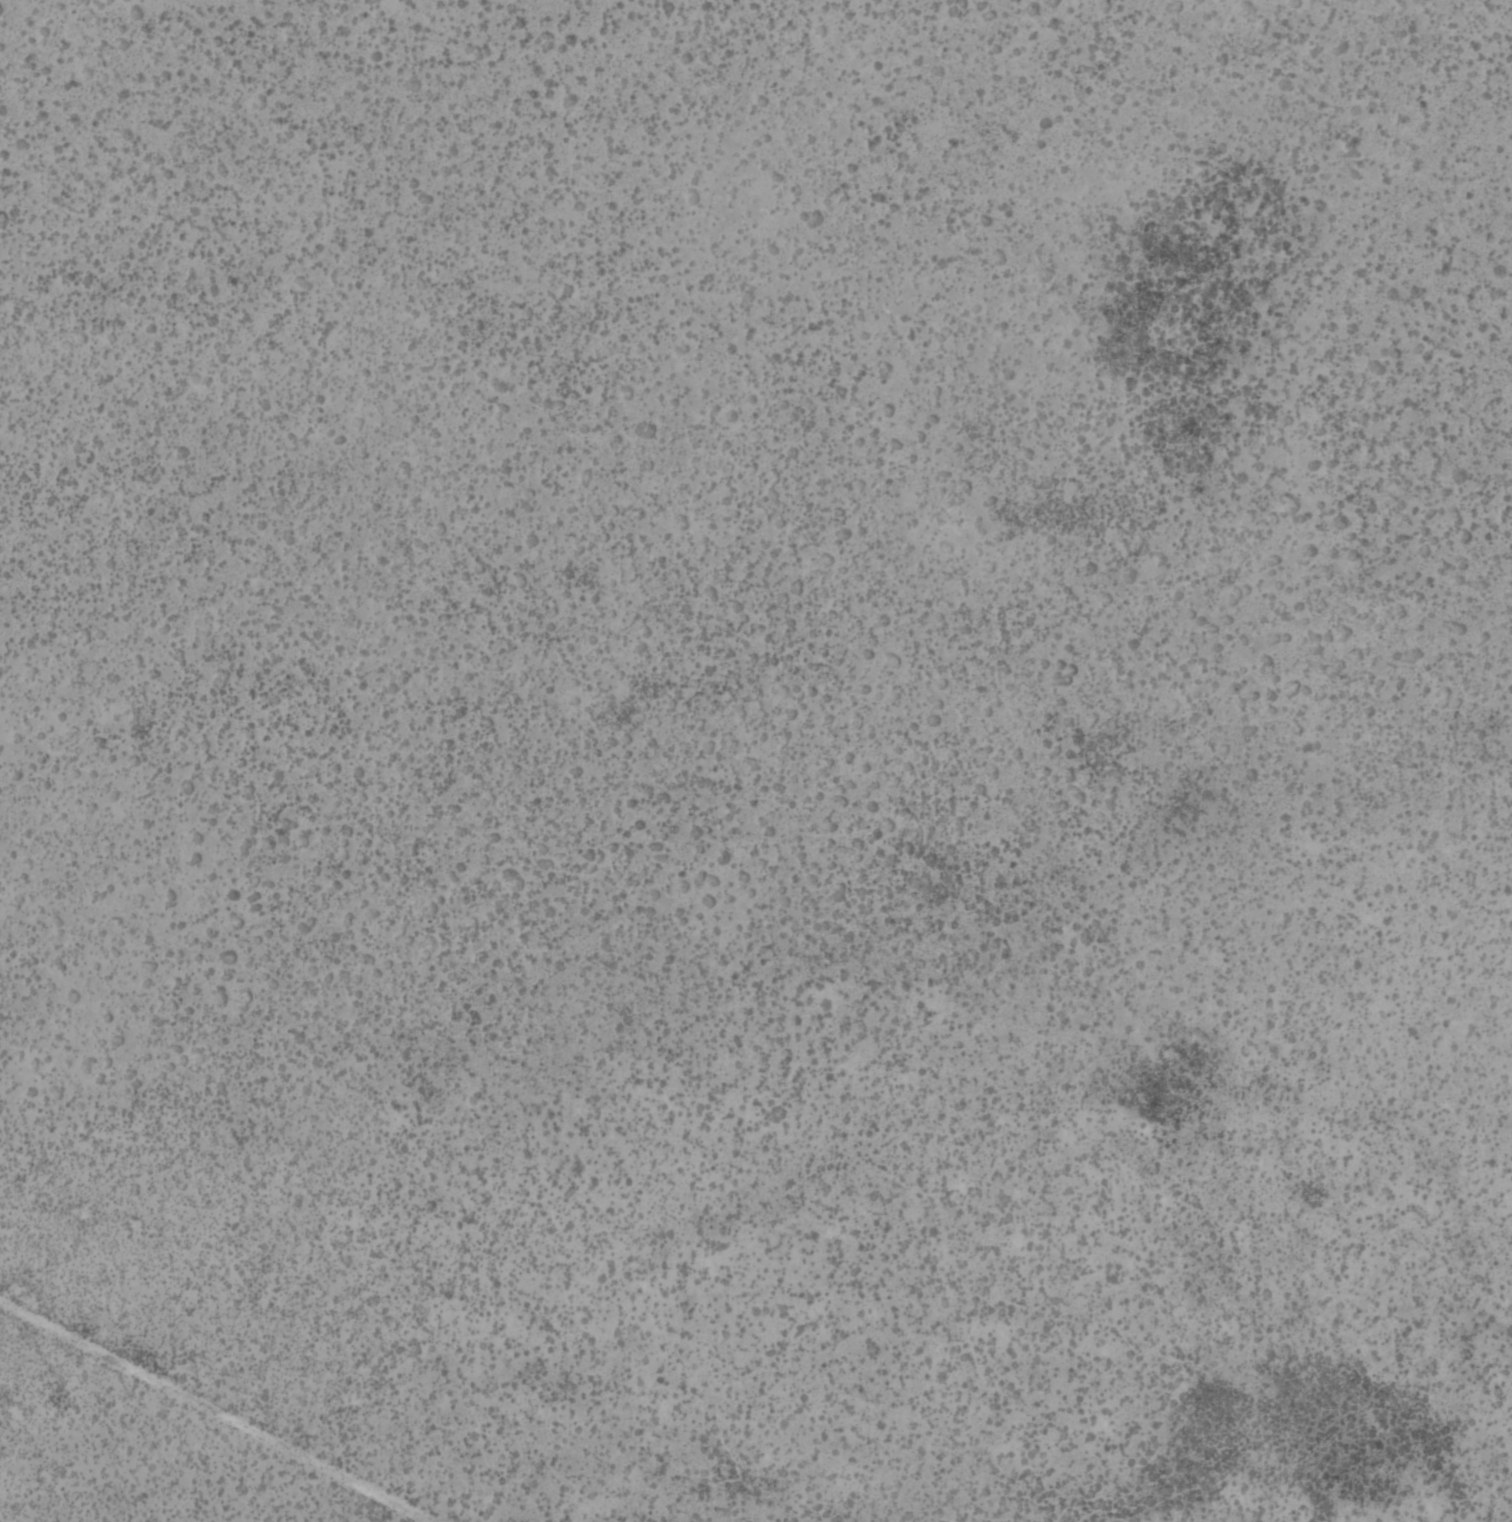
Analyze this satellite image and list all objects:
road: (22, 1321)

